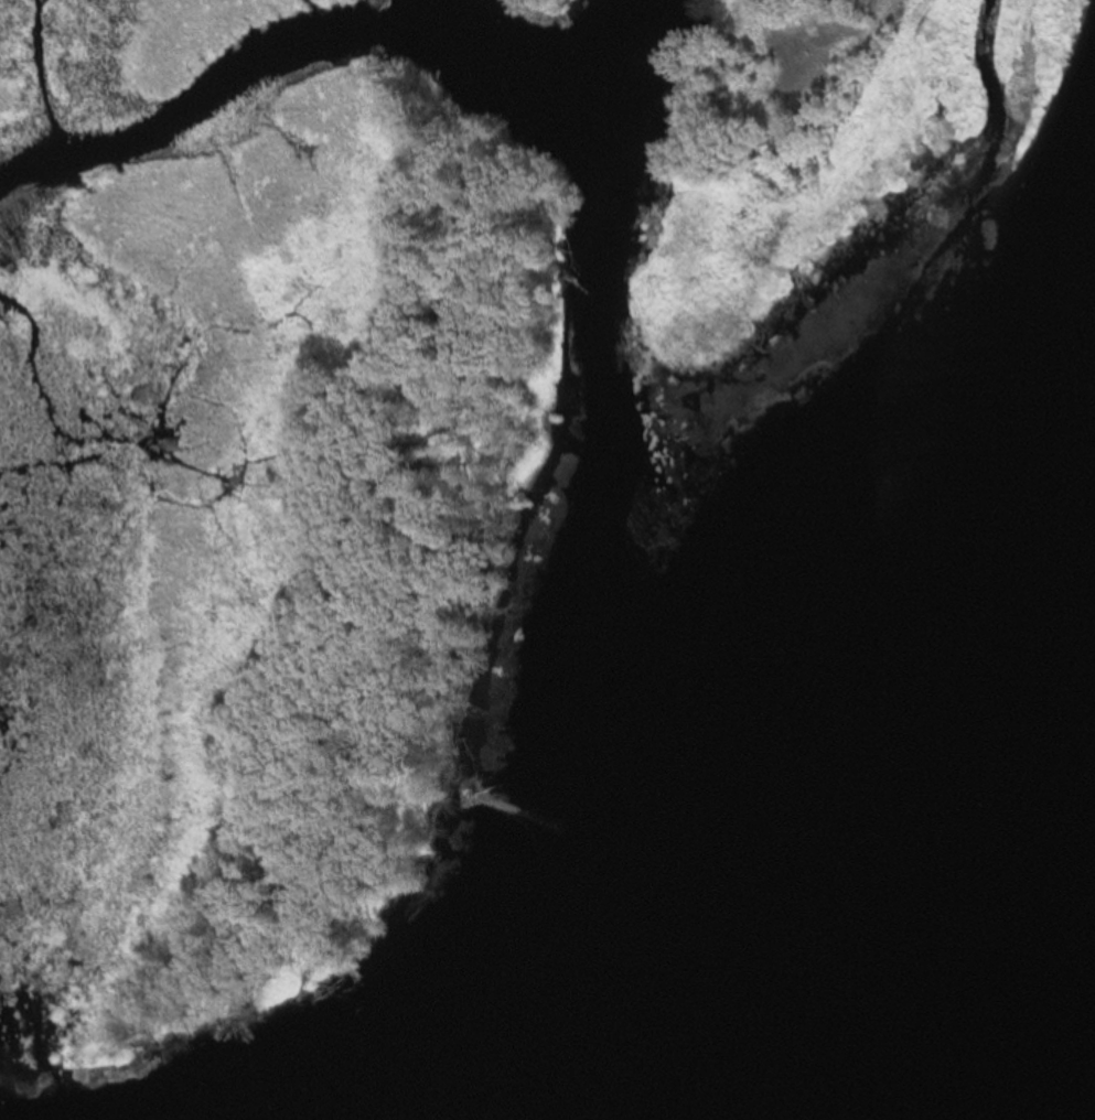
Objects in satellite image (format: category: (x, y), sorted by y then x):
river: (1046, 1008)

